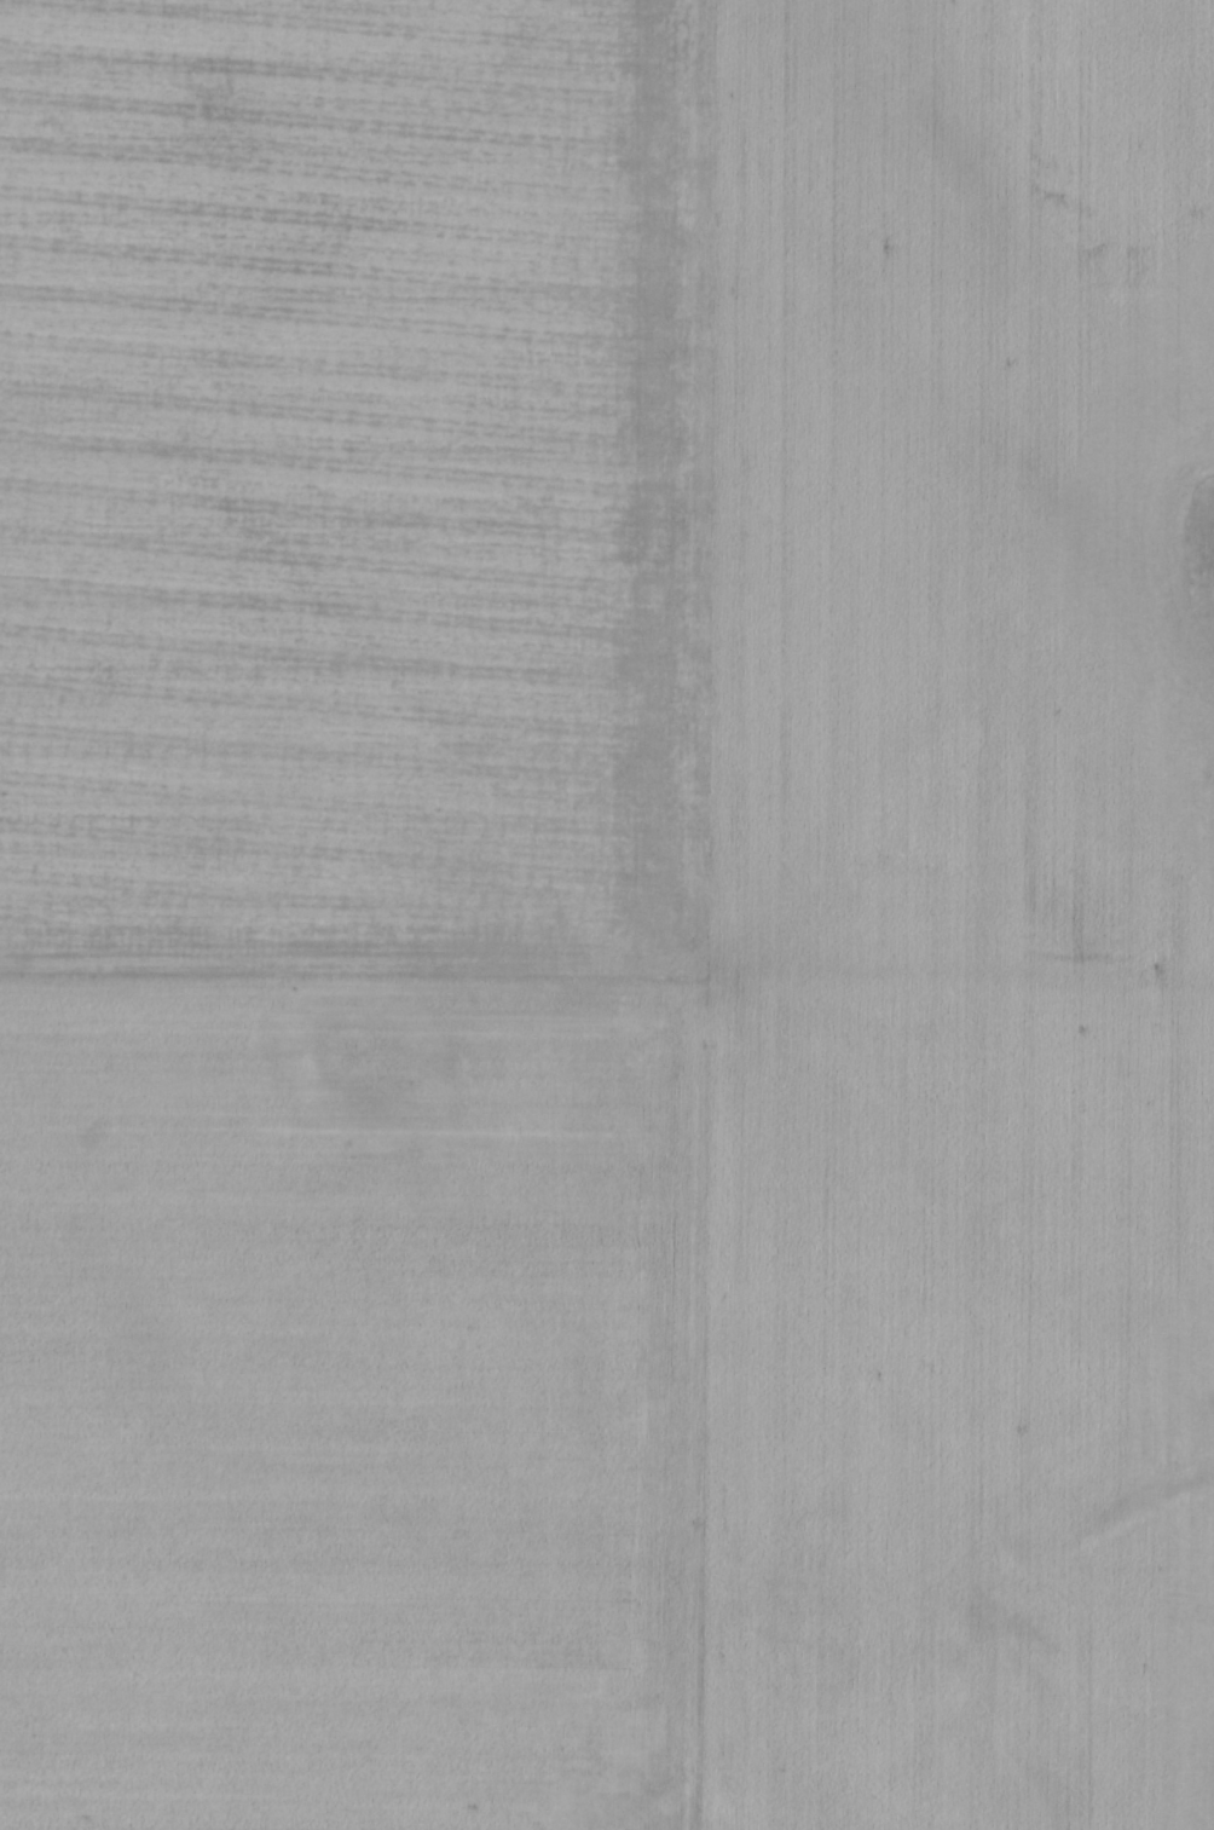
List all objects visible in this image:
crop: (607, 914)

